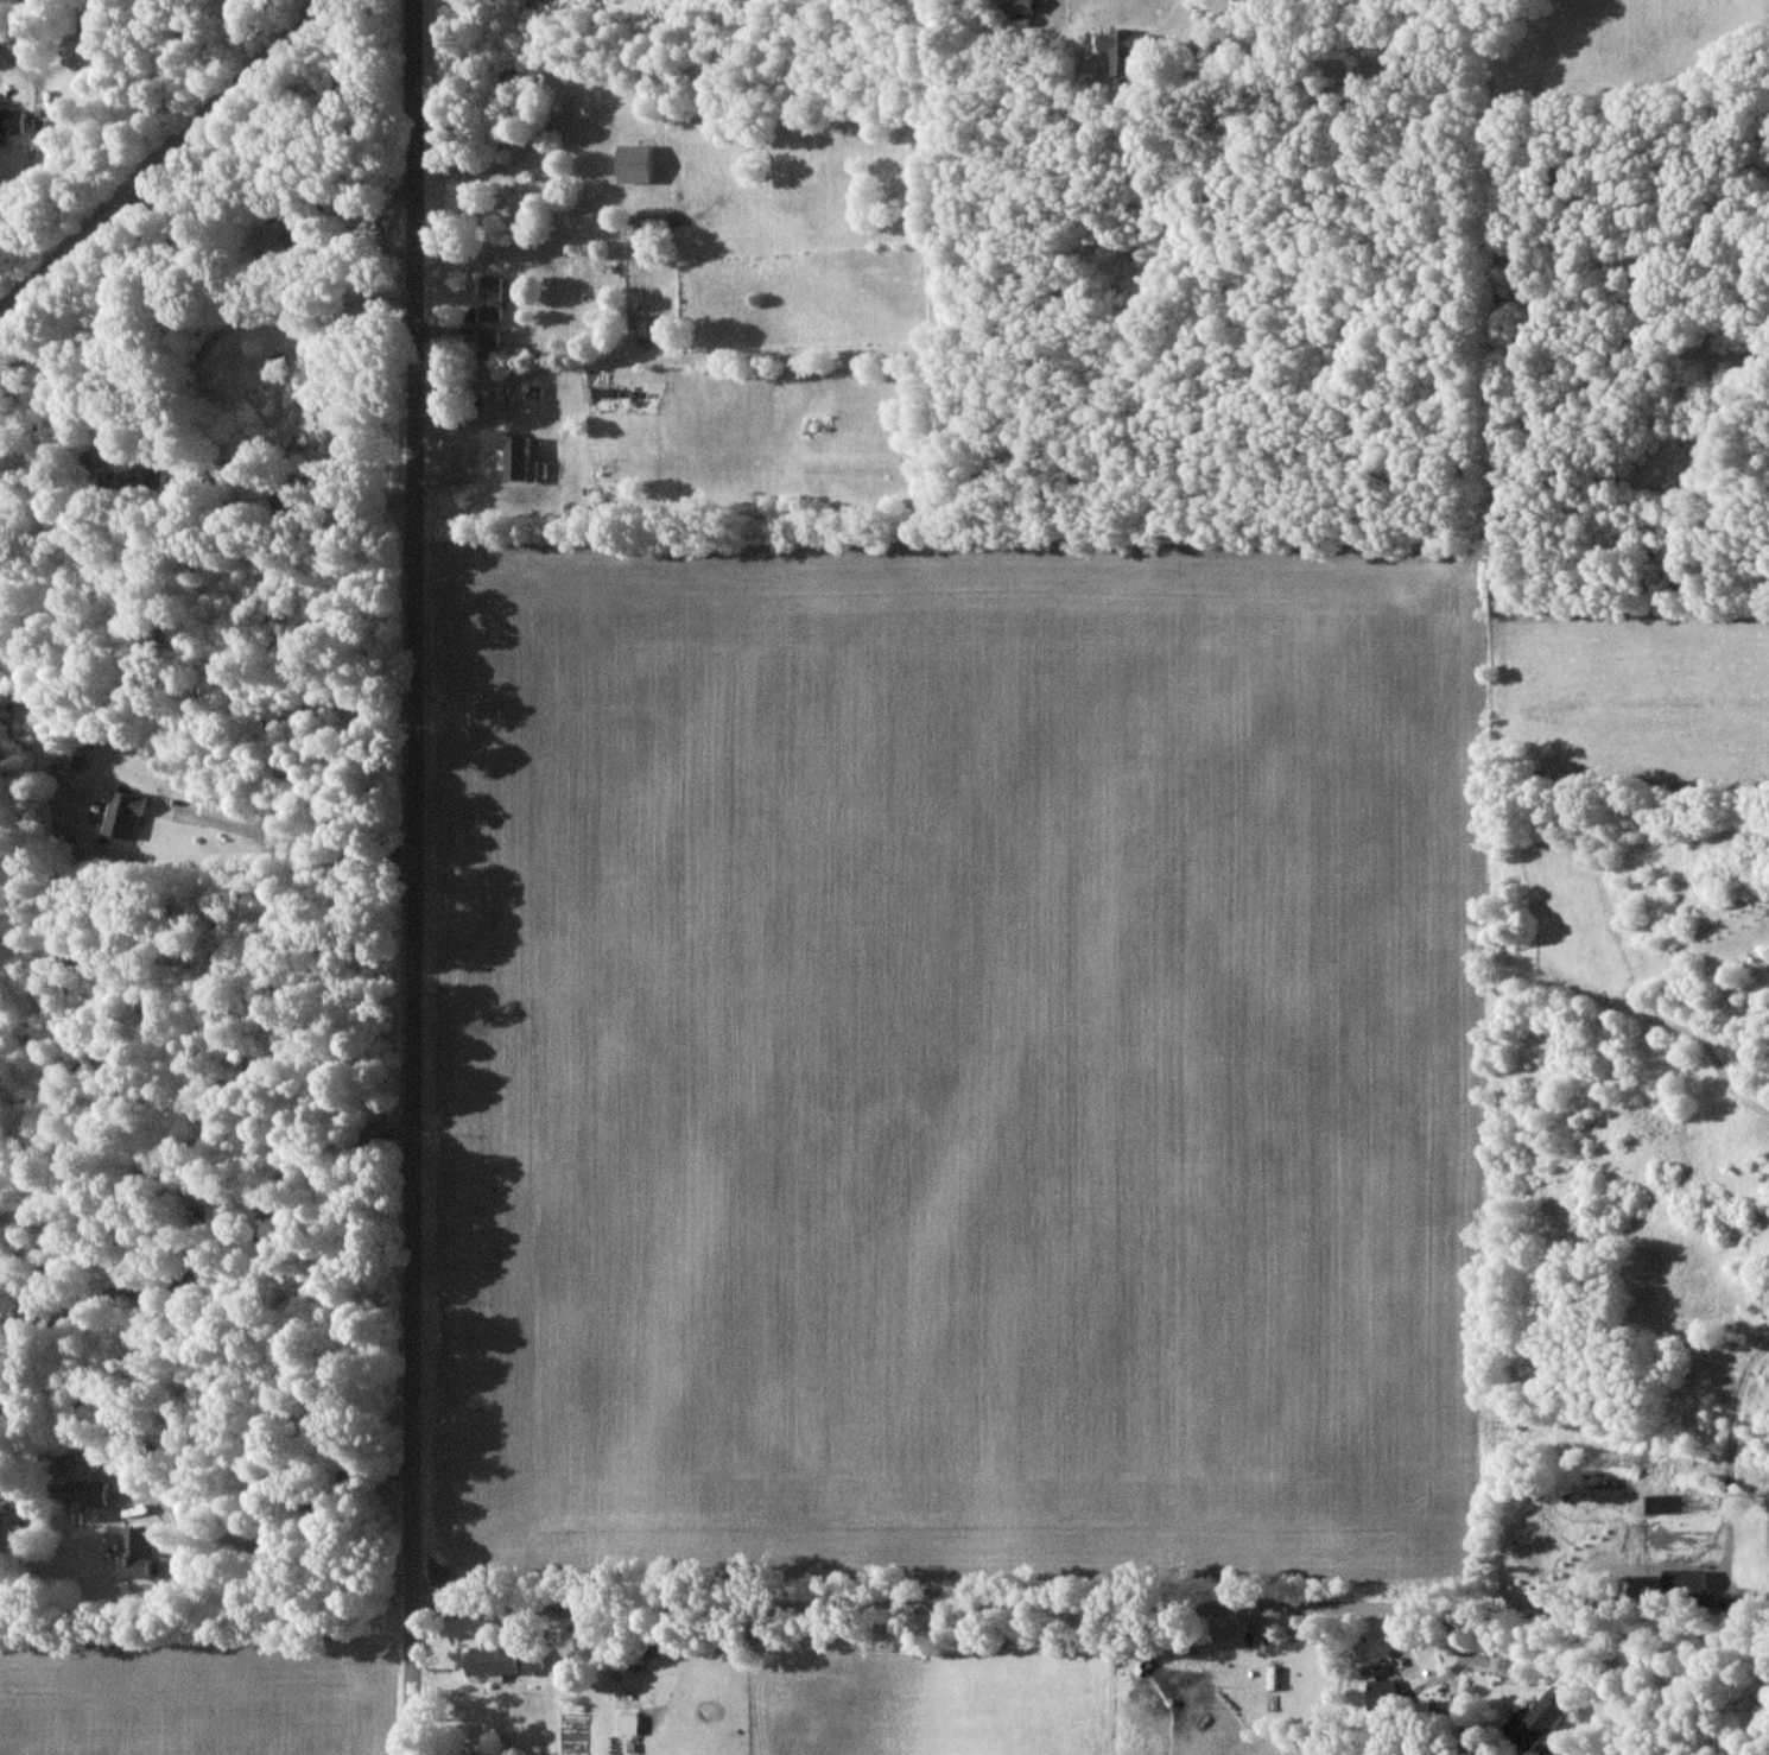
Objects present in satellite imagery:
building: (1016, 6)
road: (993, 23)
building: (90, 30)
building: (1124, 50)
road: (36, 78)
building: (9, 121)
building: (632, 165)
building: (489, 299)
building: (487, 338)
building: (497, 413)
building: (319, 426)
building: (121, 817)
road: (287, 855)
road: (412, 877)
road: (214, 1254)
building: (1760, 1449)
building: (1592, 1478)
building: (84, 1495)
road: (272, 1516)
building: (134, 1553)
building: (1528, 1564)
building: (1684, 1582)
road: (1712, 1603)
road: (1034, 1607)
building: (1066, 1649)
building: (630, 1661)
building: (500, 1662)
building: (1380, 1697)
building: (1536, 1718)
building: (624, 1724)

